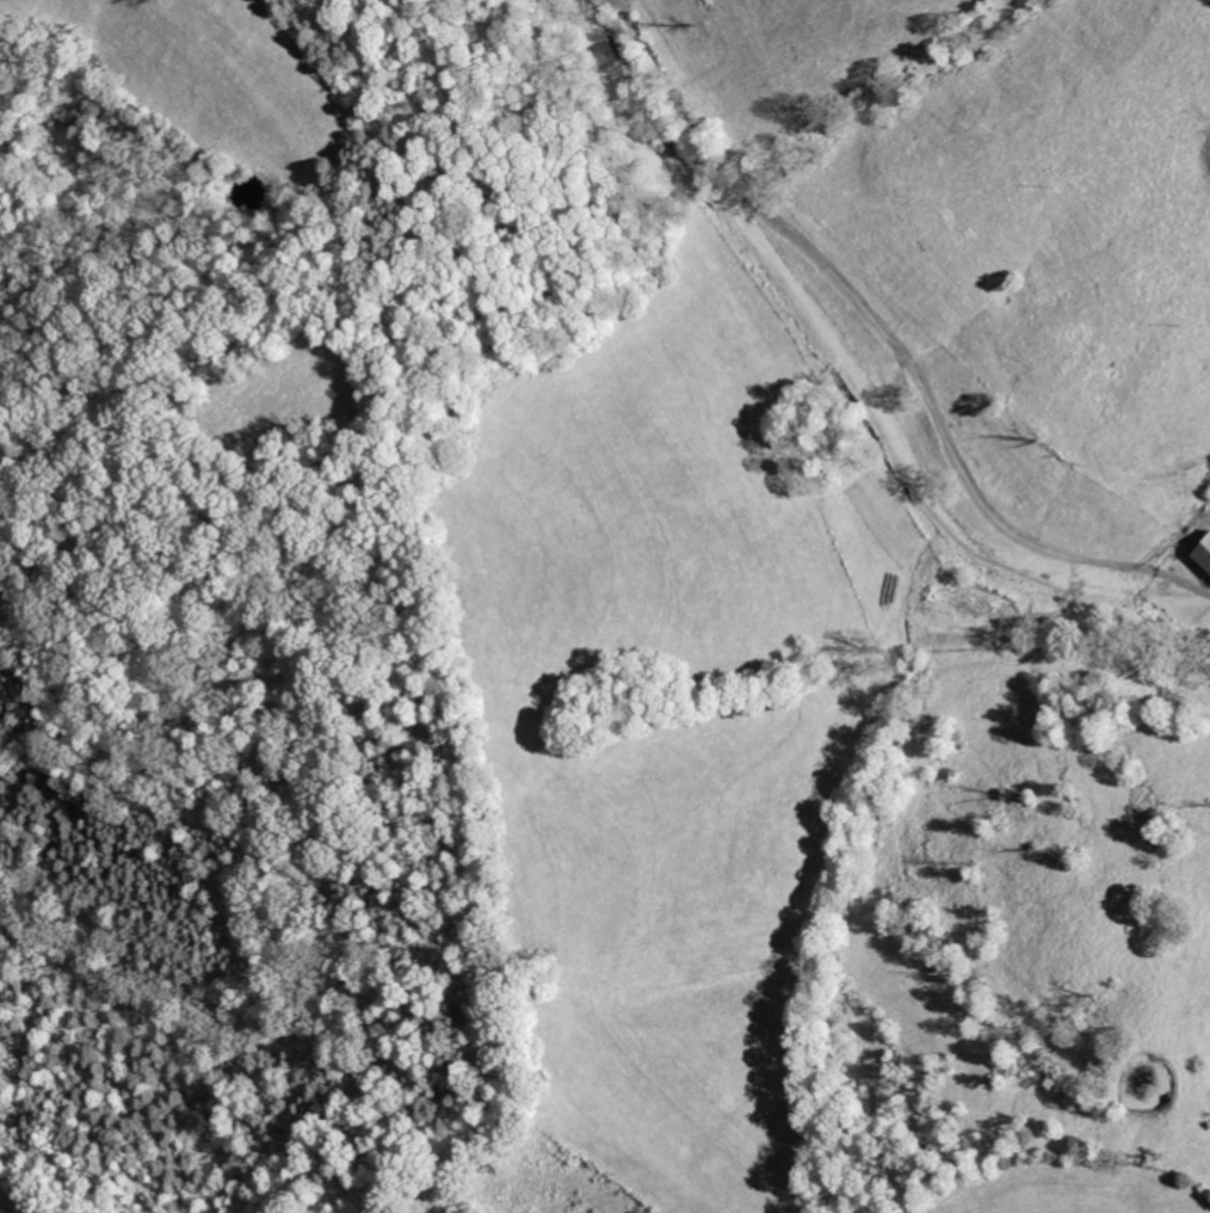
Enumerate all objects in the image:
road: (857, 377)
building: (1199, 549)

